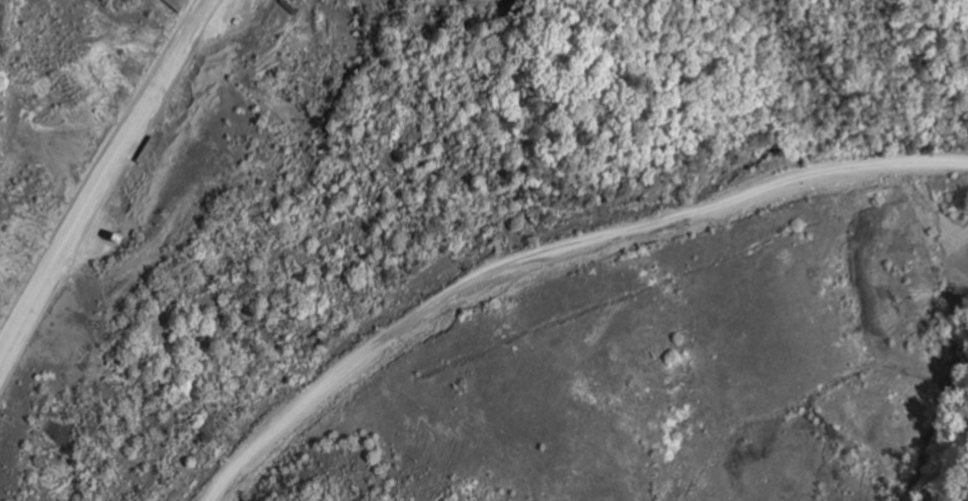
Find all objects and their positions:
road: (108, 184)
road: (556, 257)

